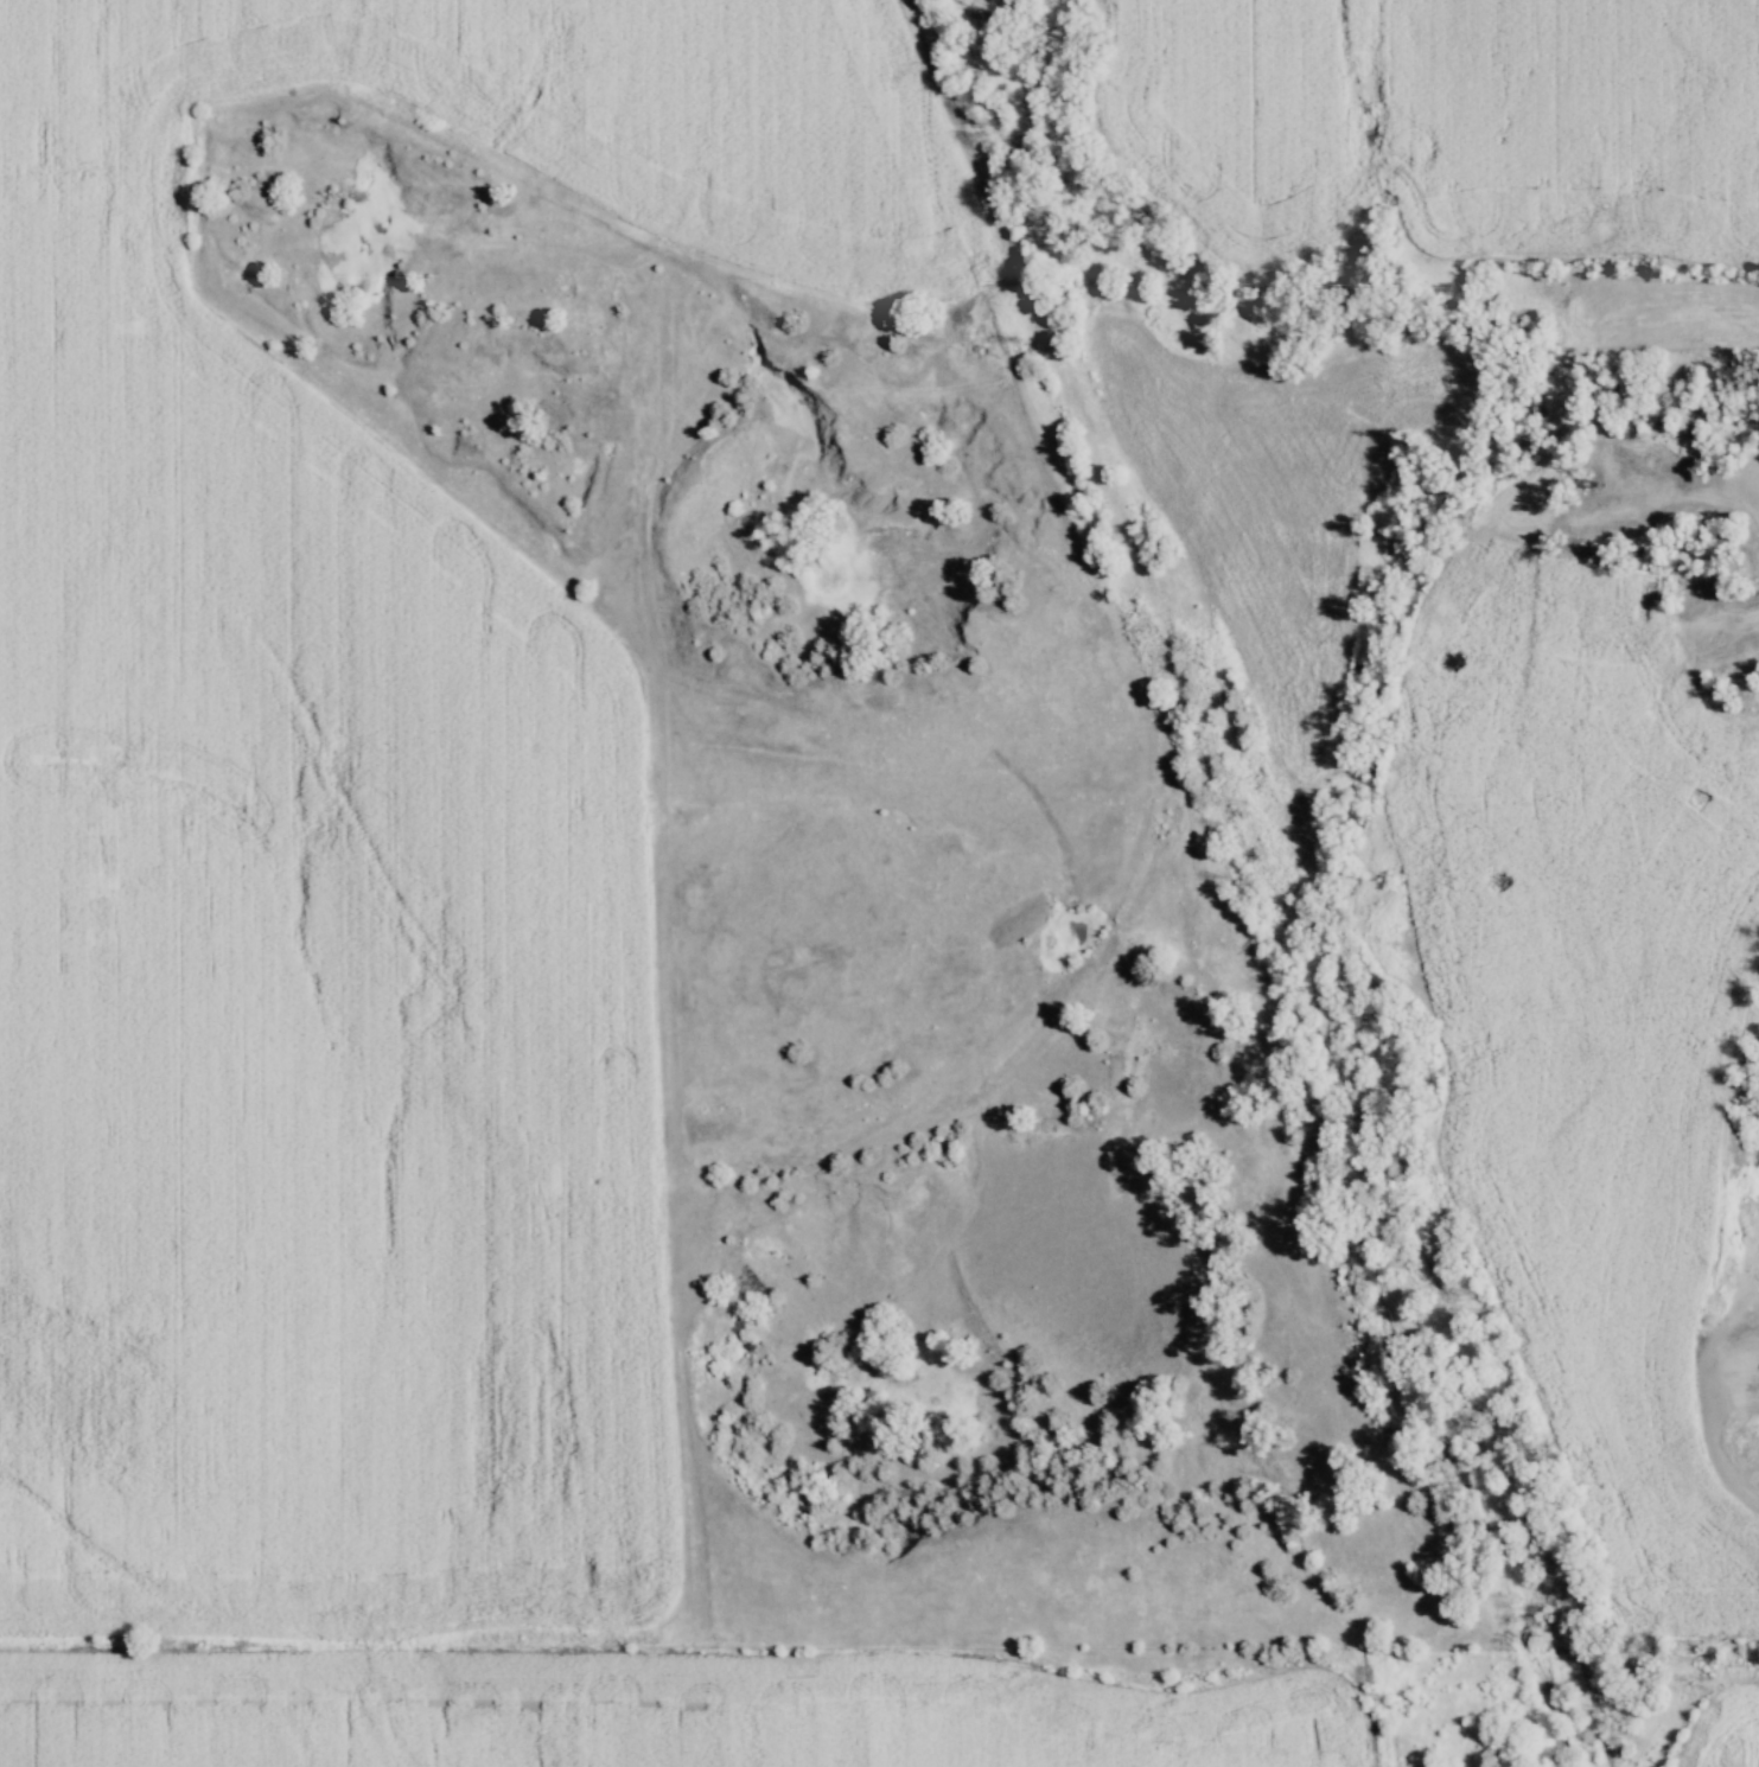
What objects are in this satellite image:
road: (1717, 1447)

